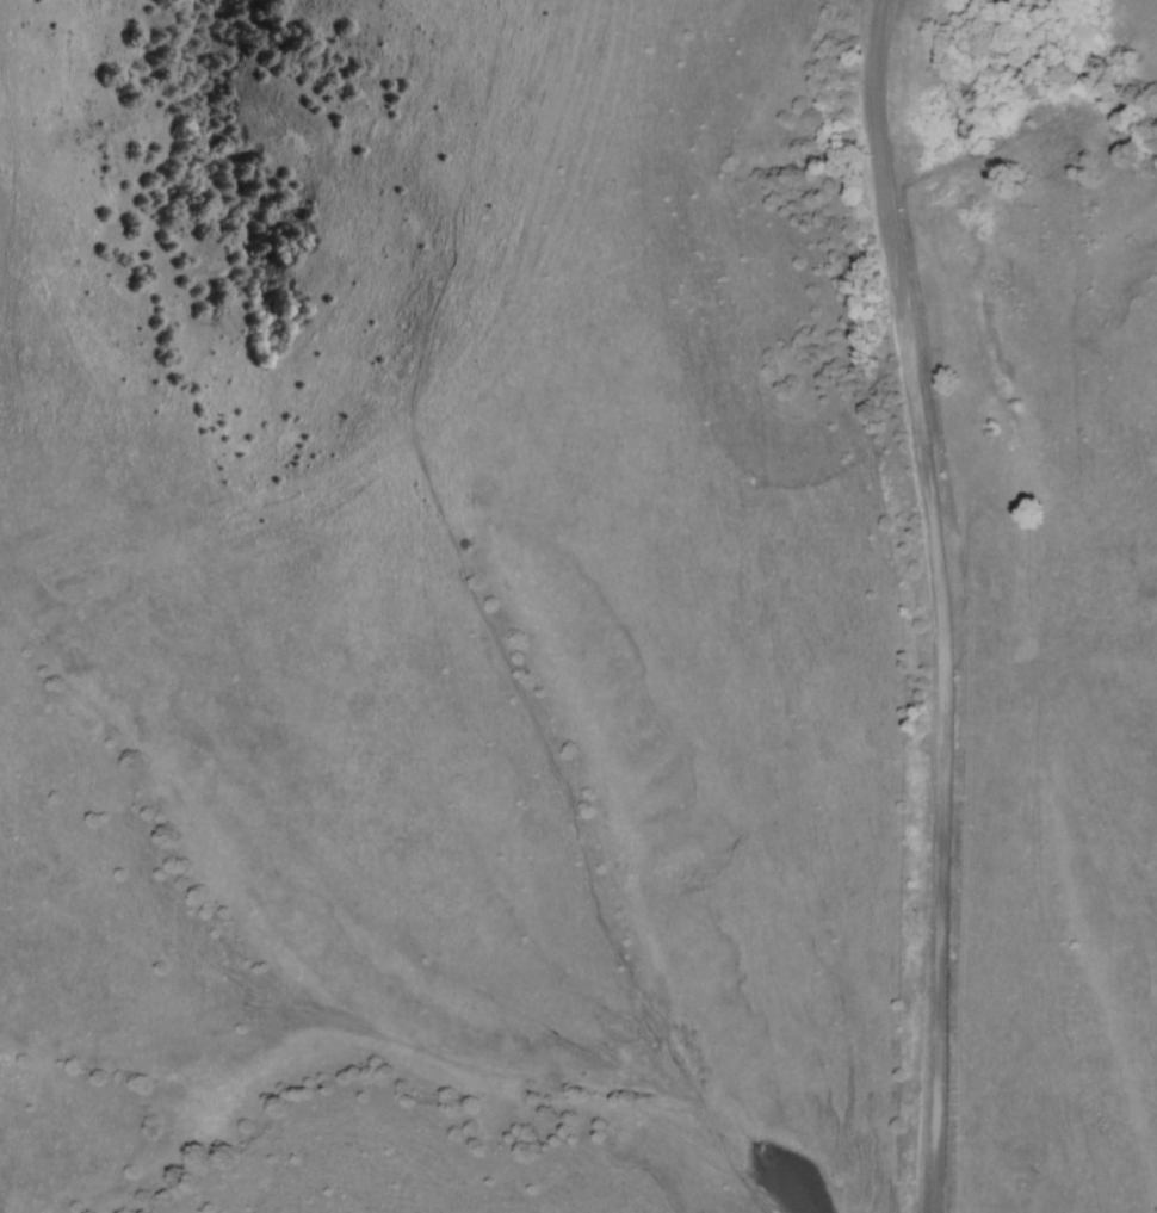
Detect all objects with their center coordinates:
road: (939, 604)

